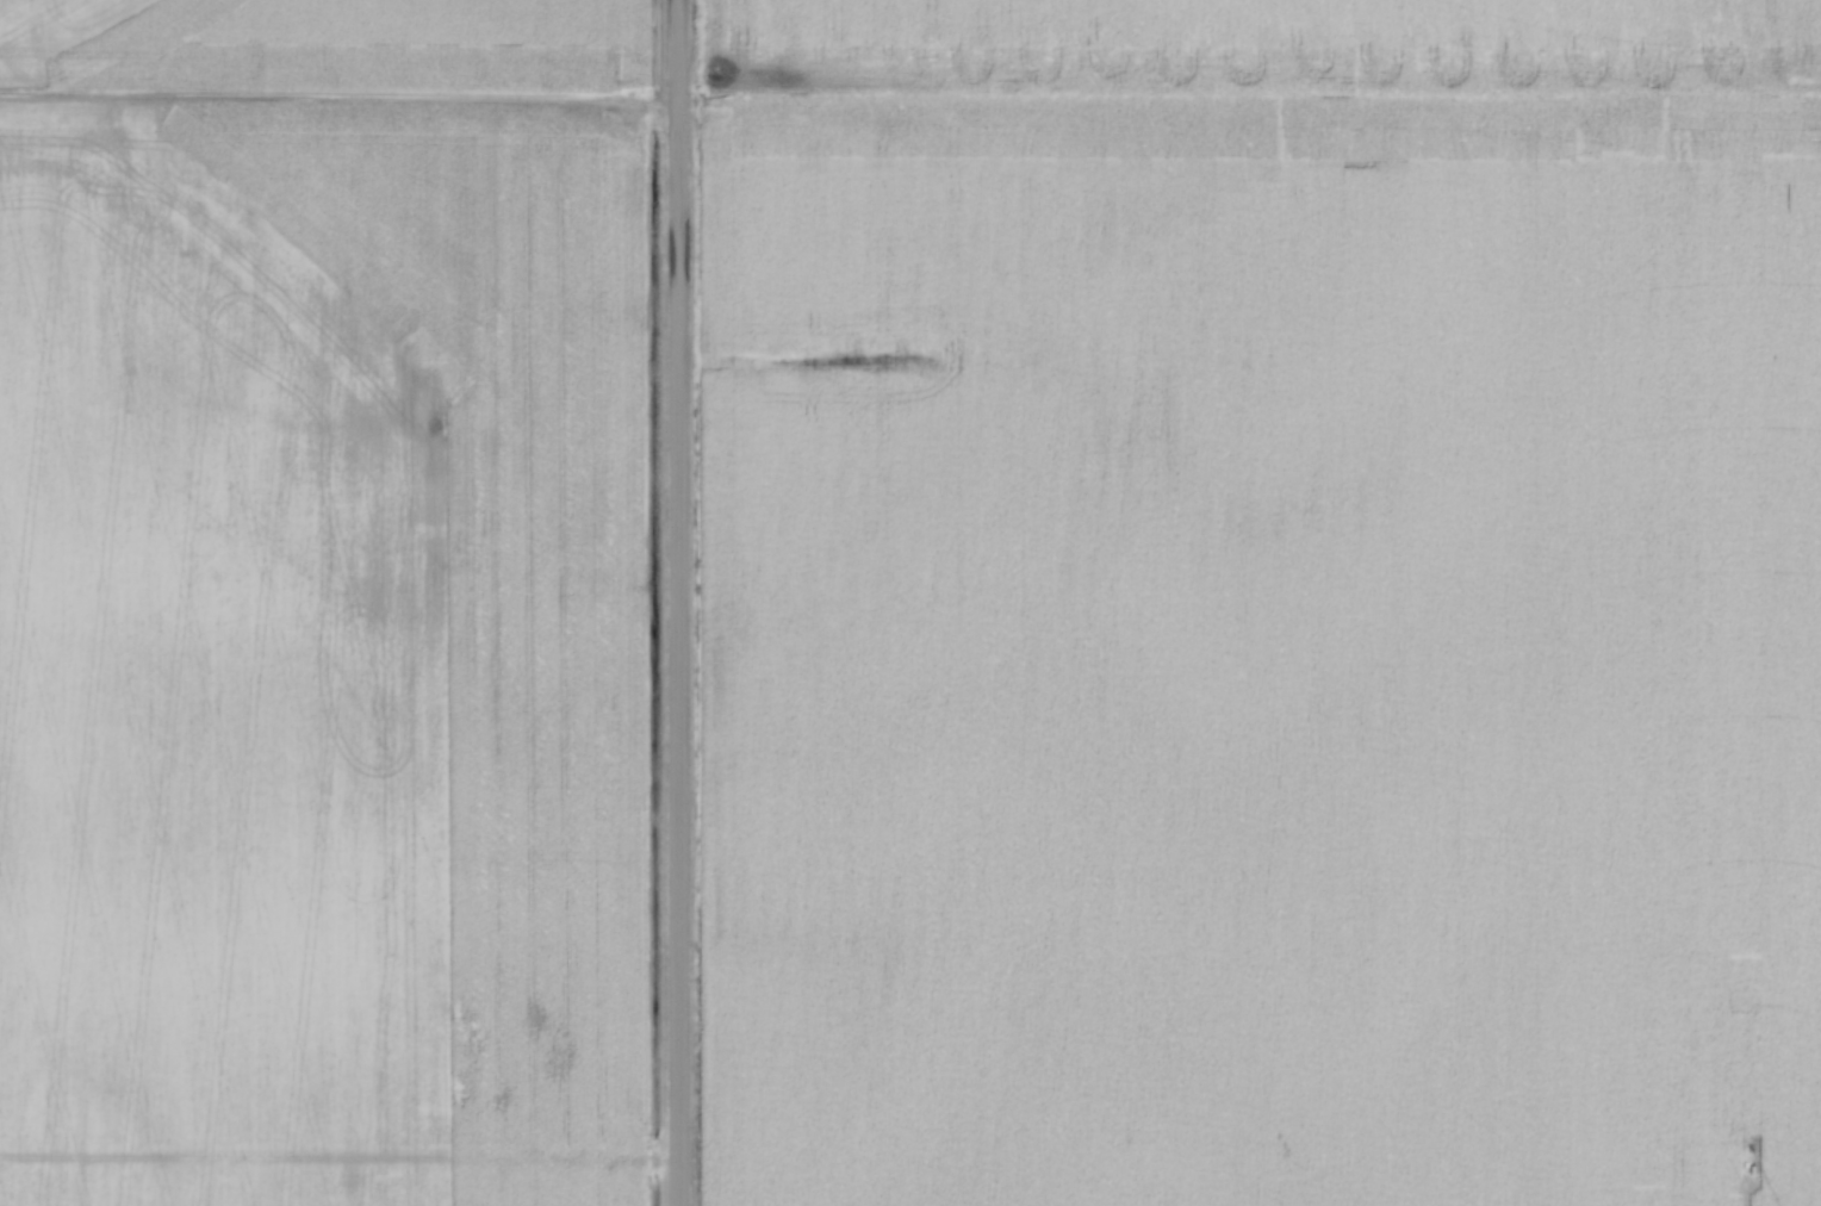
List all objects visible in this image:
road: (678, 603)

